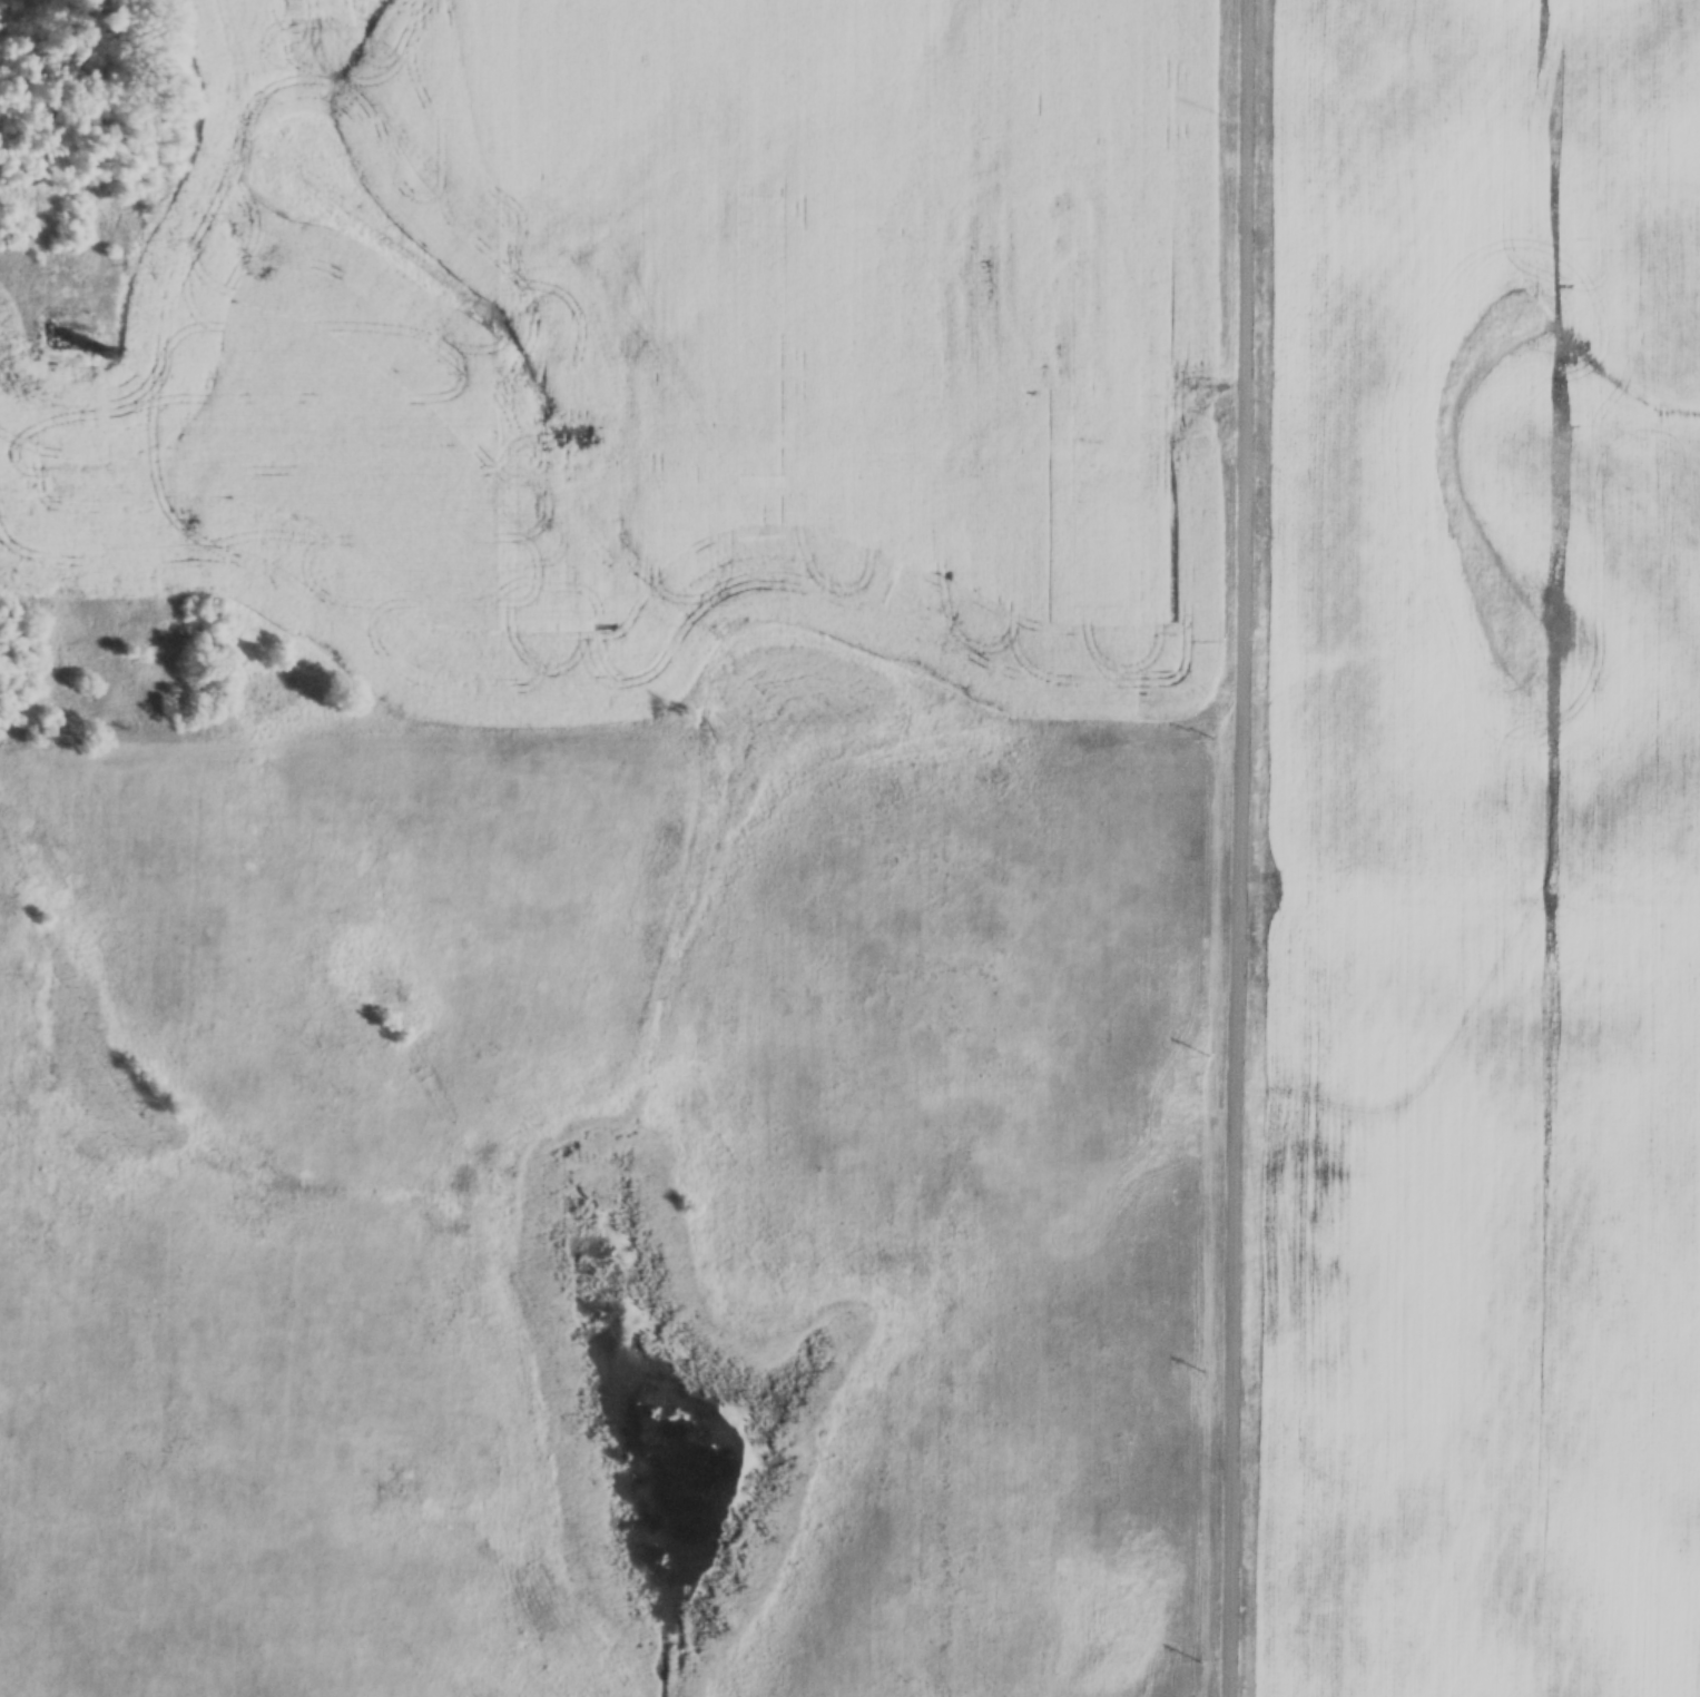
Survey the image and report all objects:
road: (1240, 848)

